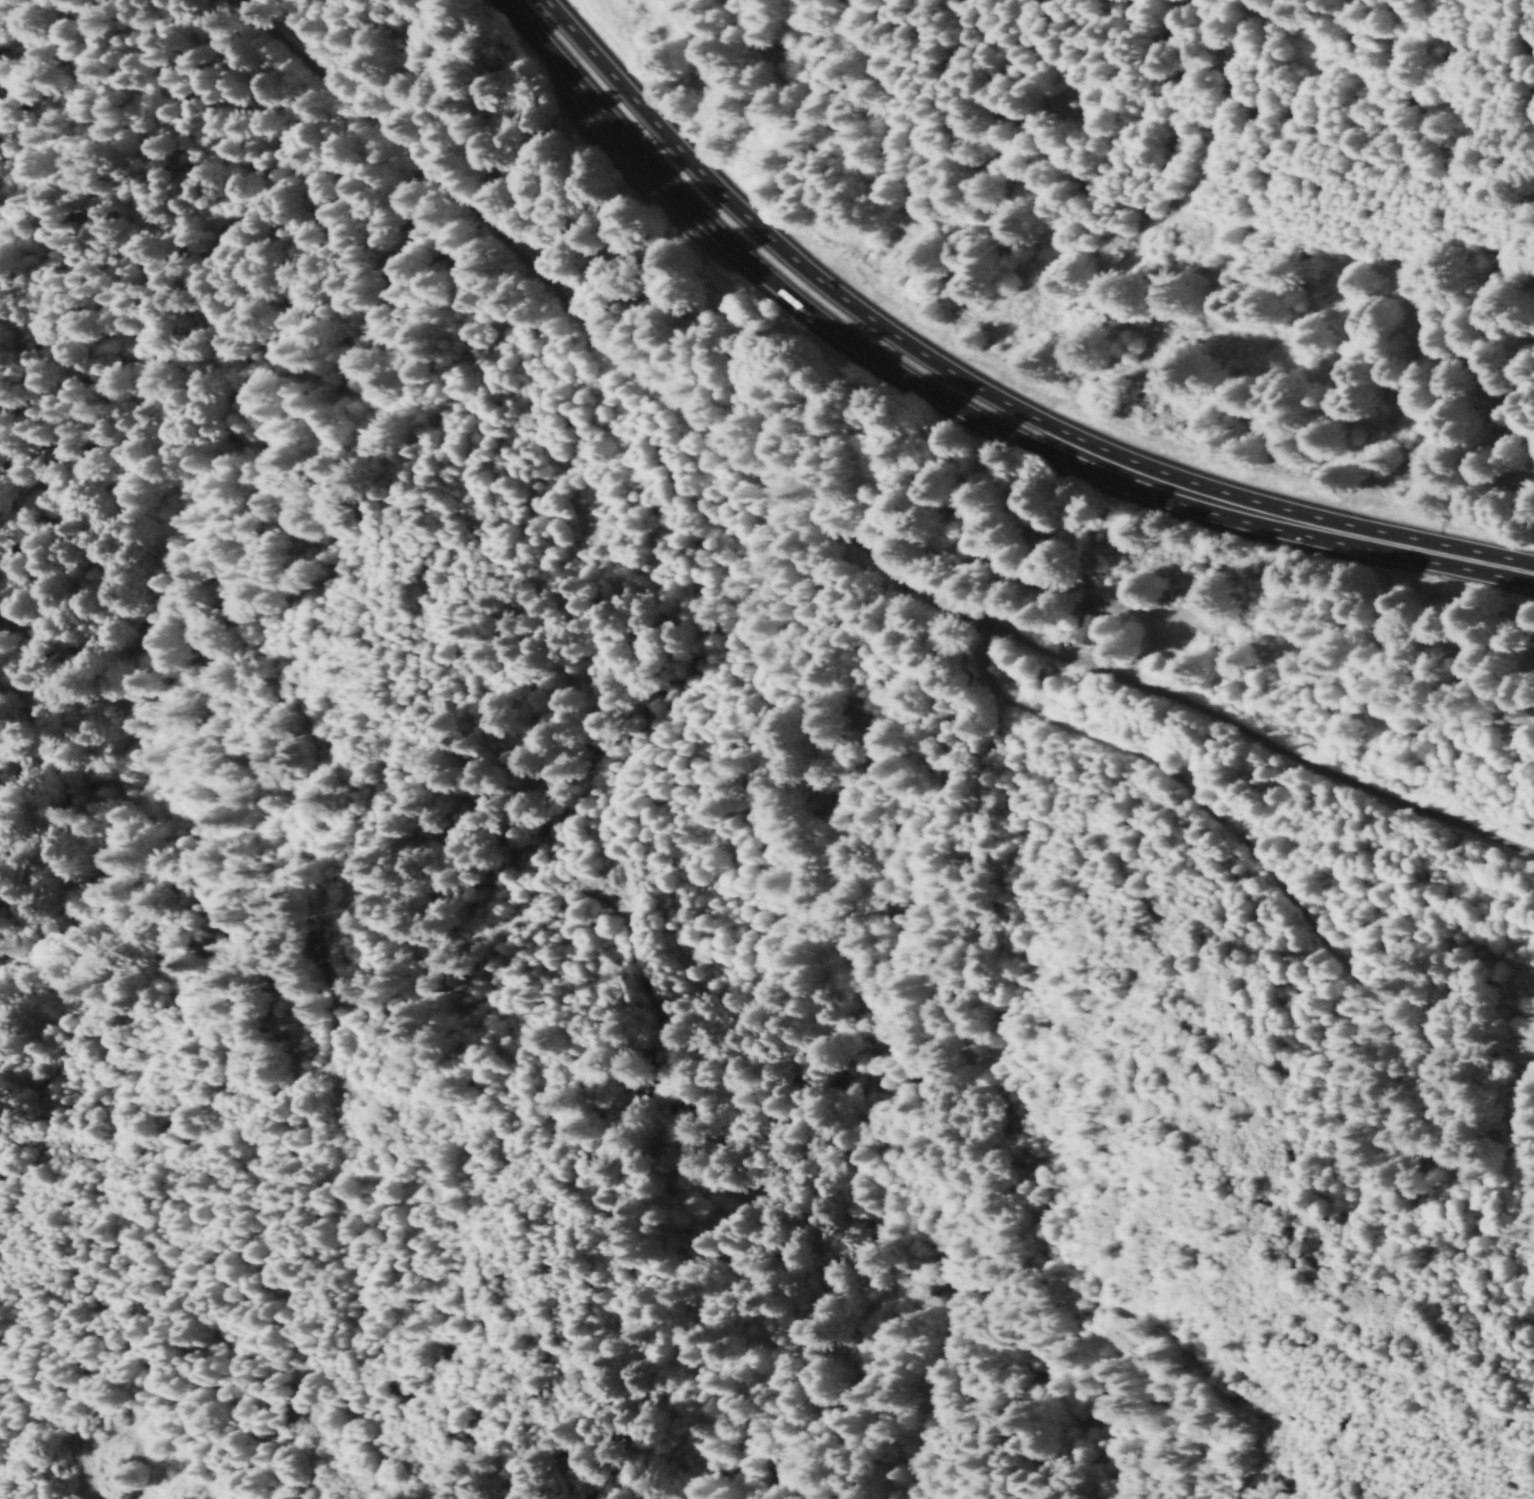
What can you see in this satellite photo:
road: (1237, 6)
road: (888, 334)
road: (858, 353)
road: (806, 534)
road: (1432, 552)
building: (1088, 631)

